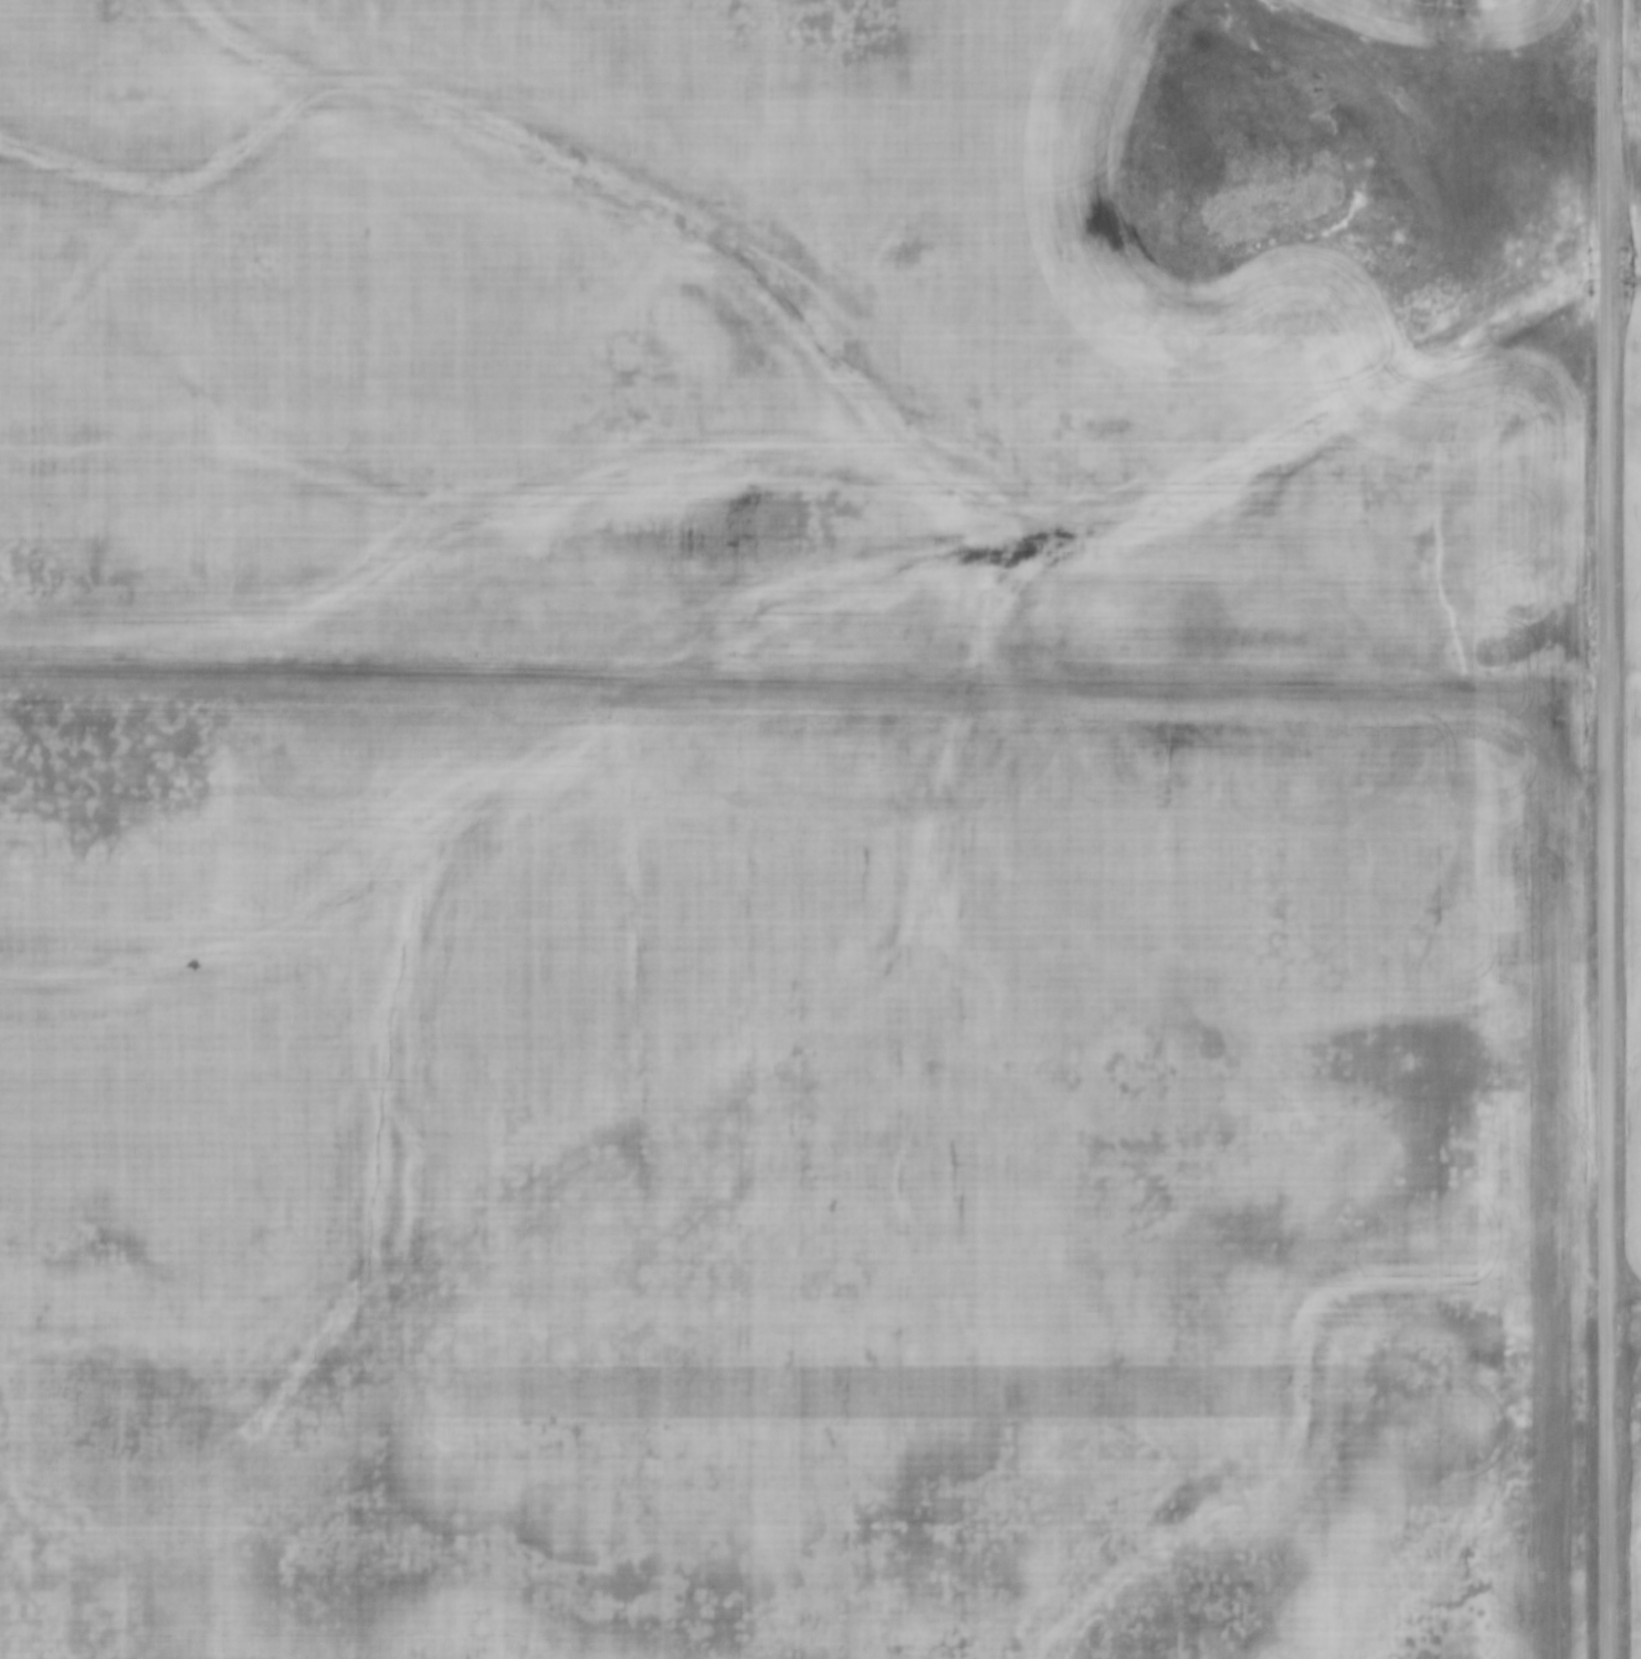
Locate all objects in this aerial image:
road: (1608, 829)

